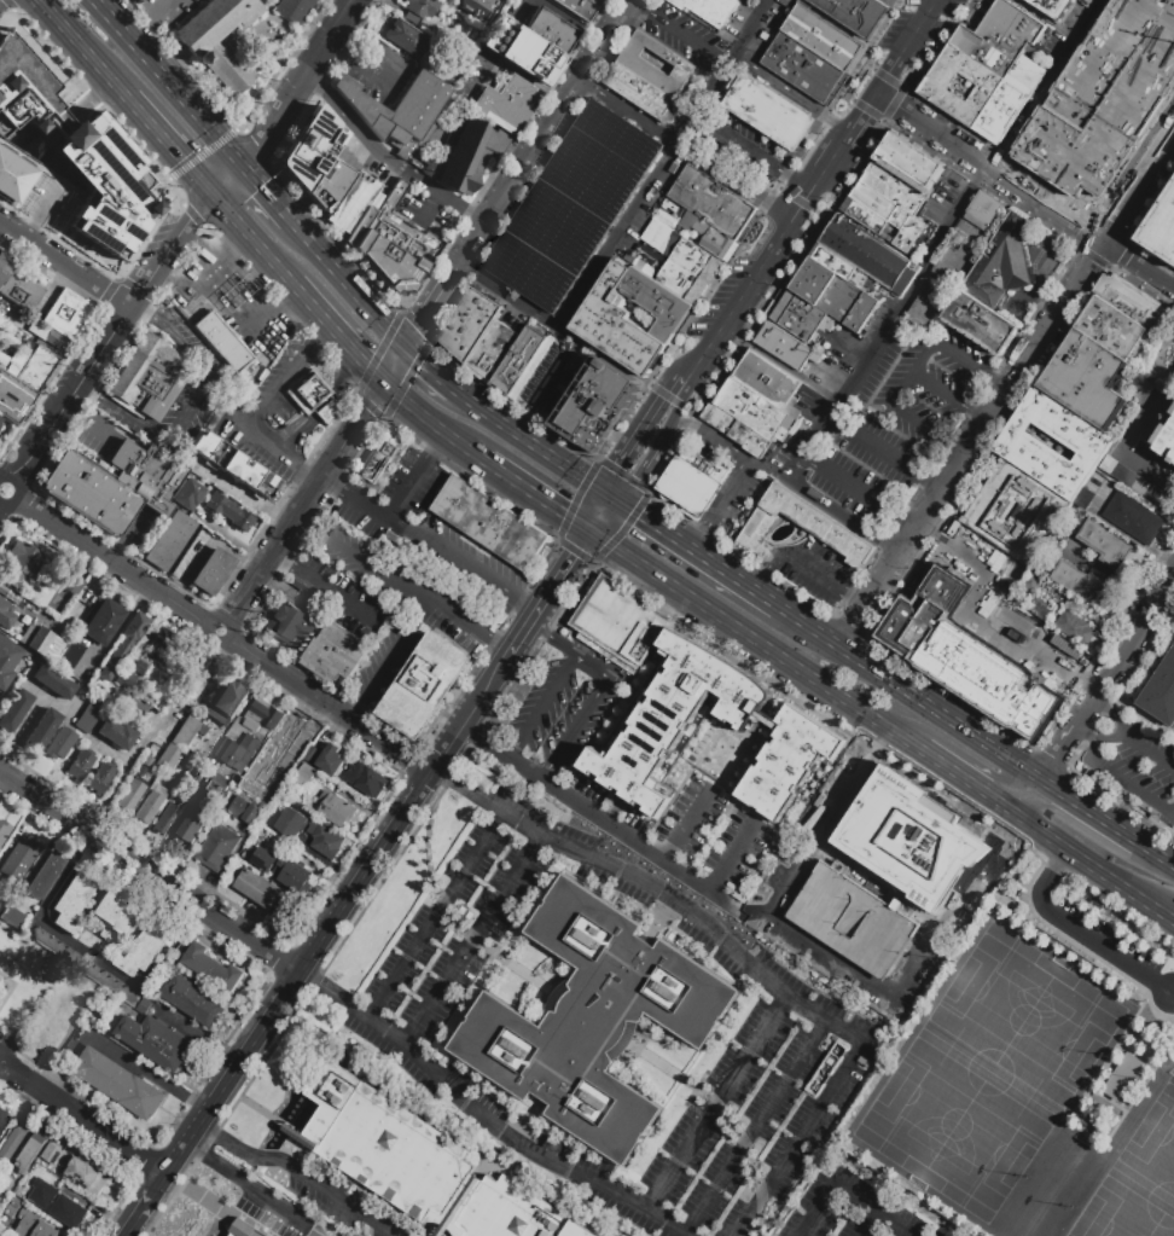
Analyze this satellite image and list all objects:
building: (133, 1)
parking lot: (751, 2)
building: (888, 2)
building: (473, 6)
building: (1051, 6)
building: (580, 7)
building: (293, 8)
building: (419, 10)
building: (705, 10)
road: (161, 12)
building: (854, 14)
road: (1050, 18)
road: (835, 23)
road: (885, 23)
road: (750, 27)
road: (917, 27)
road: (679, 30)
building: (548, 31)
road: (145, 35)
road: (76, 36)
building: (819, 36)
building: (998, 36)
building: (407, 39)
road: (938, 47)
building: (519, 51)
building: (209, 52)
building: (800, 66)
road: (866, 66)
road: (887, 71)
building: (649, 77)
road: (887, 79)
road: (169, 81)
road: (300, 83)
building: (958, 85)
road: (122, 86)
road: (91, 93)
road: (790, 93)
road: (845, 97)
road: (703, 98)
building: (1007, 99)
building: (1104, 103)
parking garage: (1104, 103)
building: (506, 104)
road: (891, 104)
road: (866, 109)
road: (627, 110)
building: (767, 112)
road: (859, 115)
building: (426, 129)
road: (542, 132)
road: (170, 144)
building: (309, 145)
building: (74, 147)
road: (751, 151)
road: (387, 157)
building: (909, 158)
road: (829, 162)
road: (662, 163)
road: (990, 166)
building: (14, 173)
building: (899, 175)
road: (226, 178)
road: (732, 181)
road: (778, 188)
road: (265, 191)
road: (559, 197)
road: (795, 199)
building: (711, 201)
road: (802, 201)
building: (890, 204)
building: (573, 205)
parking lot: (573, 205)
road: (629, 214)
road: (757, 214)
road: (818, 214)
building: (862, 215)
road: (589, 216)
building: (663, 219)
building: (1161, 228)
building: (376, 230)
road: (818, 231)
building: (708, 234)
road: (252, 238)
road: (238, 239)
road: (945, 239)
road: (777, 240)
building: (969, 240)
road: (169, 246)
building: (865, 251)
building: (690, 255)
building: (835, 262)
building: (4, 265)
road: (64, 265)
road: (1139, 267)
road: (211, 274)
road: (345, 280)
building: (681, 280)
road: (582, 285)
building: (992, 289)
building: (19, 290)
building: (236, 291)
gas station: (236, 291)
road: (507, 292)
building: (833, 294)
road: (287, 295)
building: (1129, 300)
road: (737, 301)
building: (656, 302)
road: (429, 304)
road: (139, 312)
building: (18, 313)
building: (797, 314)
building: (64, 318)
road: (266, 318)
traffic signals: (420, 319)
building: (616, 324)
building: (469, 325)
building: (1110, 326)
road: (321, 332)
road: (339, 333)
building: (222, 341)
building: (785, 347)
building: (493, 352)
road: (603, 355)
road: (699, 359)
traffic signals: (423, 360)
building: (518, 360)
road: (349, 362)
road: (393, 364)
traffic signals: (366, 365)
road: (429, 365)
road: (556, 369)
road: (794, 371)
road: (204, 372)
road: (907, 372)
building: (149, 376)
building: (1083, 377)
building: (766, 379)
building: (23, 382)
road: (281, 384)
road: (338, 387)
road: (87, 389)
road: (680, 389)
road: (1004, 390)
road: (71, 393)
road: (662, 393)
building: (312, 395)
road: (946, 396)
road: (679, 402)
road: (321, 404)
building: (599, 405)
road: (486, 407)
building: (752, 410)
traffic signals: (366, 411)
road: (691, 411)
building: (1172, 411)
building: (0, 417)
road: (697, 417)
road: (523, 418)
building: (0, 419)
road: (132, 419)
building: (214, 419)
road: (672, 420)
road: (435, 422)
road: (624, 422)
parking lot: (901, 424)
building: (0, 425)
road: (293, 428)
building: (736, 430)
road: (633, 437)
road: (268, 439)
road: (440, 441)
building: (1164, 441)
building: (1083, 442)
road: (1121, 452)
road: (883, 453)
building: (378, 457)
road: (558, 458)
traffic signals: (616, 464)
building: (234, 465)
road: (643, 471)
road: (312, 472)
road: (786, 480)
building: (1133, 482)
building: (121, 484)
building: (688, 487)
road: (860, 488)
road: (18, 489)
road: (539, 493)
road: (611, 494)
road: (576, 499)
road: (723, 506)
road: (300, 507)
road: (595, 507)
building: (228, 511)
traffic signals: (565, 511)
building: (1015, 511)
traffic signals: (640, 513)
road: (606, 515)
building: (1132, 520)
road: (388, 521)
road: (629, 522)
building: (489, 524)
building: (825, 528)
building: (169, 540)
building: (1103, 542)
road: (629, 553)
road: (280, 555)
traffic signals: (573, 556)
road: (702, 556)
parking lot: (980, 558)
building: (27, 559)
road: (463, 563)
road: (803, 565)
building: (211, 570)
parking lot: (812, 570)
road: (1117, 576)
road: (762, 581)
building: (1031, 582)
building: (1080, 582)
road: (331, 588)
road: (524, 592)
road: (546, 596)
road: (422, 598)
road: (854, 599)
building: (57, 604)
building: (5, 614)
building: (103, 621)
road: (459, 621)
building: (620, 623)
road: (977, 625)
building: (292, 627)
road: (1025, 627)
building: (1074, 628)
road: (222, 636)
road: (547, 636)
road: (1133, 640)
building: (41, 643)
building: (123, 644)
road: (500, 648)
building: (157, 651)
building: (336, 654)
building: (964, 655)
building: (69, 656)
building: (7, 663)
road: (586, 665)
road: (796, 667)
parking lot: (1058, 667)
building: (124, 679)
building: (53, 681)
building: (426, 686)
building: (1161, 692)
road: (911, 694)
building: (227, 702)
building: (129, 706)
road: (541, 708)
building: (13, 710)
building: (91, 714)
road: (1085, 715)
road: (1112, 715)
building: (262, 716)
road: (466, 716)
building: (676, 716)
road: (575, 727)
building: (42, 730)
building: (187, 731)
building: (286, 732)
building: (116, 733)
road: (1088, 735)
road: (1110, 738)
building: (60, 743)
road: (1067, 744)
building: (238, 752)
road: (1147, 752)
building: (169, 758)
building: (326, 758)
road: (966, 759)
road: (1052, 759)
building: (791, 760)
building: (147, 761)
building: (80, 764)
building: (140, 771)
road: (1048, 771)
parking lot: (1141, 771)
road: (453, 772)
road: (954, 773)
building: (303, 774)
building: (100, 778)
building: (366, 779)
road: (1123, 782)
road: (459, 784)
building: (217, 785)
building: (262, 787)
building: (130, 795)
road: (1120, 803)
road: (1000, 805)
building: (147, 806)
road: (1132, 807)
building: (336, 810)
building: (244, 811)
road: (1093, 812)
road: (1146, 816)
building: (165, 819)
building: (197, 824)
road: (612, 825)
building: (4, 829)
road: (1082, 829)
building: (312, 834)
building: (908, 840)
building: (217, 848)
road: (1160, 855)
building: (19, 857)
road: (731, 857)
building: (265, 859)
road: (1094, 866)
road: (149, 871)
building: (43, 875)
building: (295, 876)
road: (1047, 878)
building: (265, 893)
road: (1092, 899)
building: (70, 901)
road: (1109, 904)
road: (1110, 909)
building: (8, 912)
building: (116, 913)
road: (435, 915)
building: (853, 919)
parking garage: (853, 919)
road: (459, 927)
building: (104, 935)
road: (293, 939)
road: (473, 939)
parking lot: (467, 945)
building: (144, 951)
road: (1085, 952)
road: (1109, 952)
parking lot: (1115, 952)
road: (92, 954)
road: (824, 956)
park: (24, 967)
building: (86, 968)
building: (211, 968)
road: (769, 980)
road: (11, 986)
building: (192, 1000)
road: (277, 1003)
building: (145, 1008)
building: (594, 1021)
road: (198, 1032)
building: (156, 1043)
road: (114, 1055)
park: (1033, 1070)
park: (989, 1073)
building: (1122, 1077)
building: (120, 1084)
road: (1106, 1101)
road: (716, 1102)
parking lot: (737, 1107)
road: (483, 1115)
road: (725, 1116)
road: (82, 1118)
building: (5, 1122)
road: (209, 1126)
road: (755, 1127)
building: (11, 1147)
building: (30, 1151)
road: (190, 1153)
building: (52, 1155)
building: (419, 1165)
building: (86, 1176)
road: (310, 1179)
park: (1138, 1180)
building: (42, 1195)
road: (257, 1196)
parking lot: (847, 1209)
road: (816, 1211)
road: (870, 1211)
building: (0, 1212)
building: (68, 1212)
road: (870, 1225)
building: (36, 1226)
building: (244, 1230)

